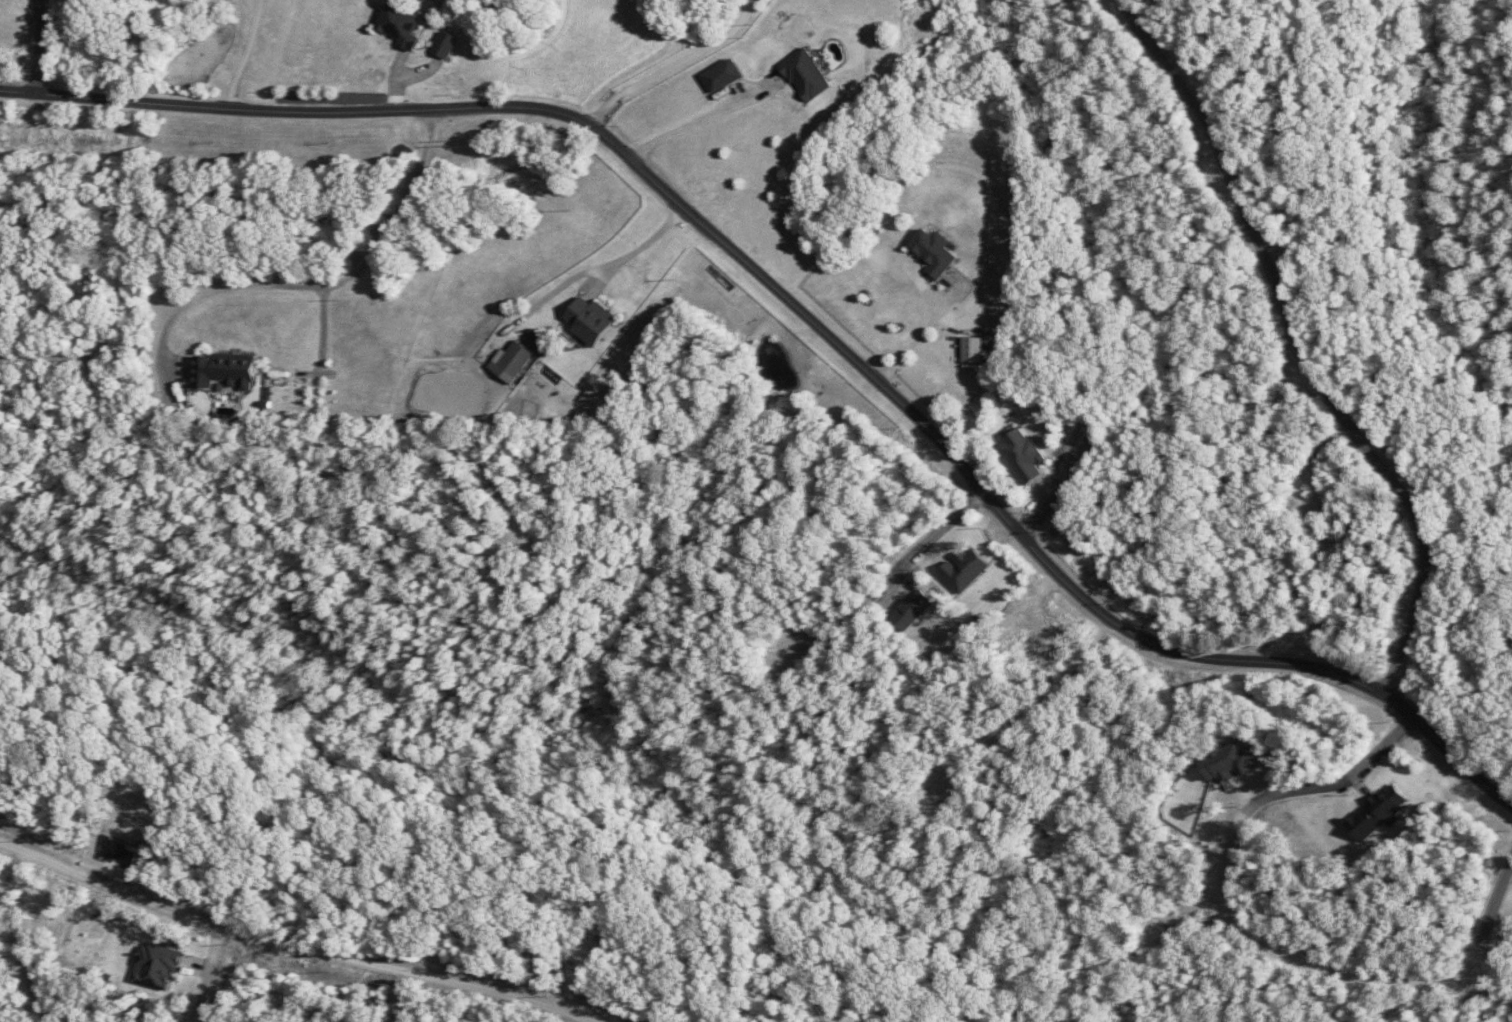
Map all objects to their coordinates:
building: (399, 25)
building: (444, 45)
road: (45, 49)
road: (243, 54)
road: (674, 65)
building: (805, 75)
building: (722, 76)
road: (1290, 101)
road: (26, 119)
road: (128, 159)
building: (933, 252)
road: (330, 286)
road: (129, 294)
road: (807, 320)
building: (589, 321)
road: (1303, 349)
building: (972, 350)
road: (45, 360)
building: (510, 361)
building: (225, 371)
road: (319, 451)
building: (1022, 456)
road: (1315, 465)
road: (1069, 496)
building: (963, 569)
road: (900, 579)
building: (911, 610)
road: (1027, 719)
building: (1229, 763)
road: (671, 792)
building: (1377, 813)
road: (1189, 914)
road: (1263, 932)
road: (17, 940)
road: (289, 945)
building: (156, 965)
road: (212, 977)
road: (573, 978)
road: (403, 997)

